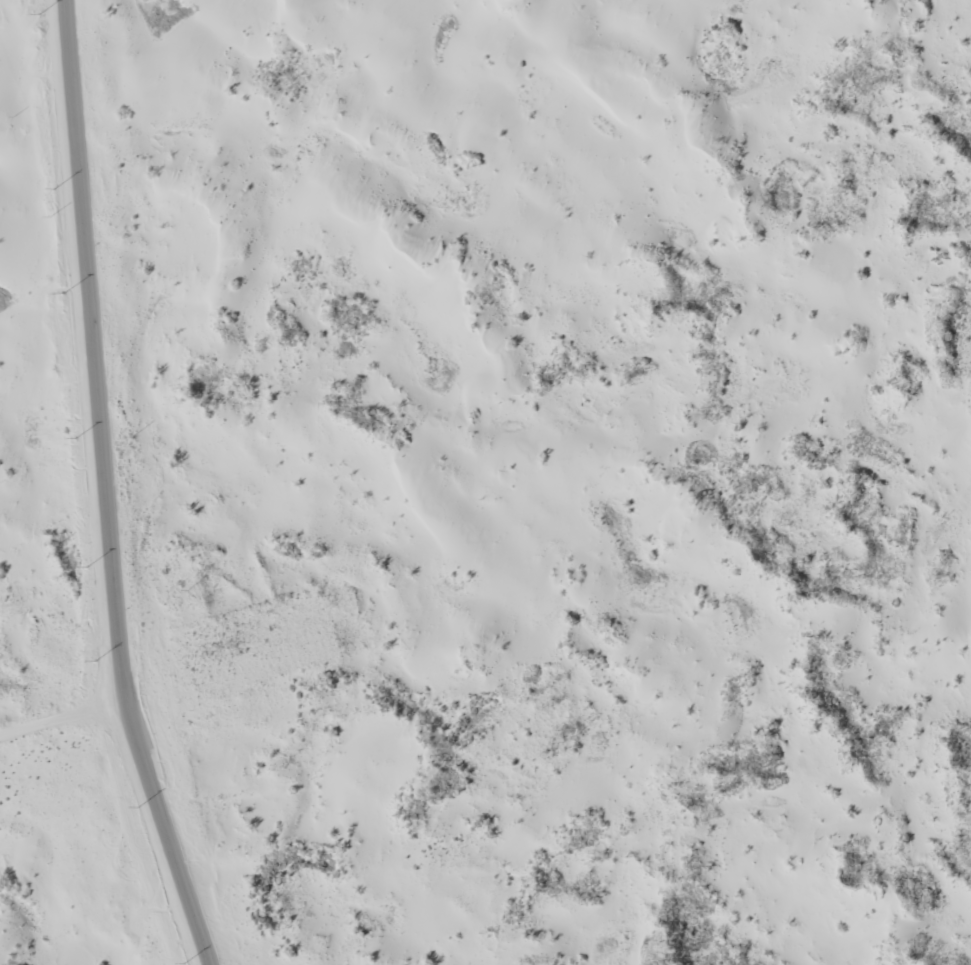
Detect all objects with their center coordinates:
road: (101, 326)
road: (163, 809)

